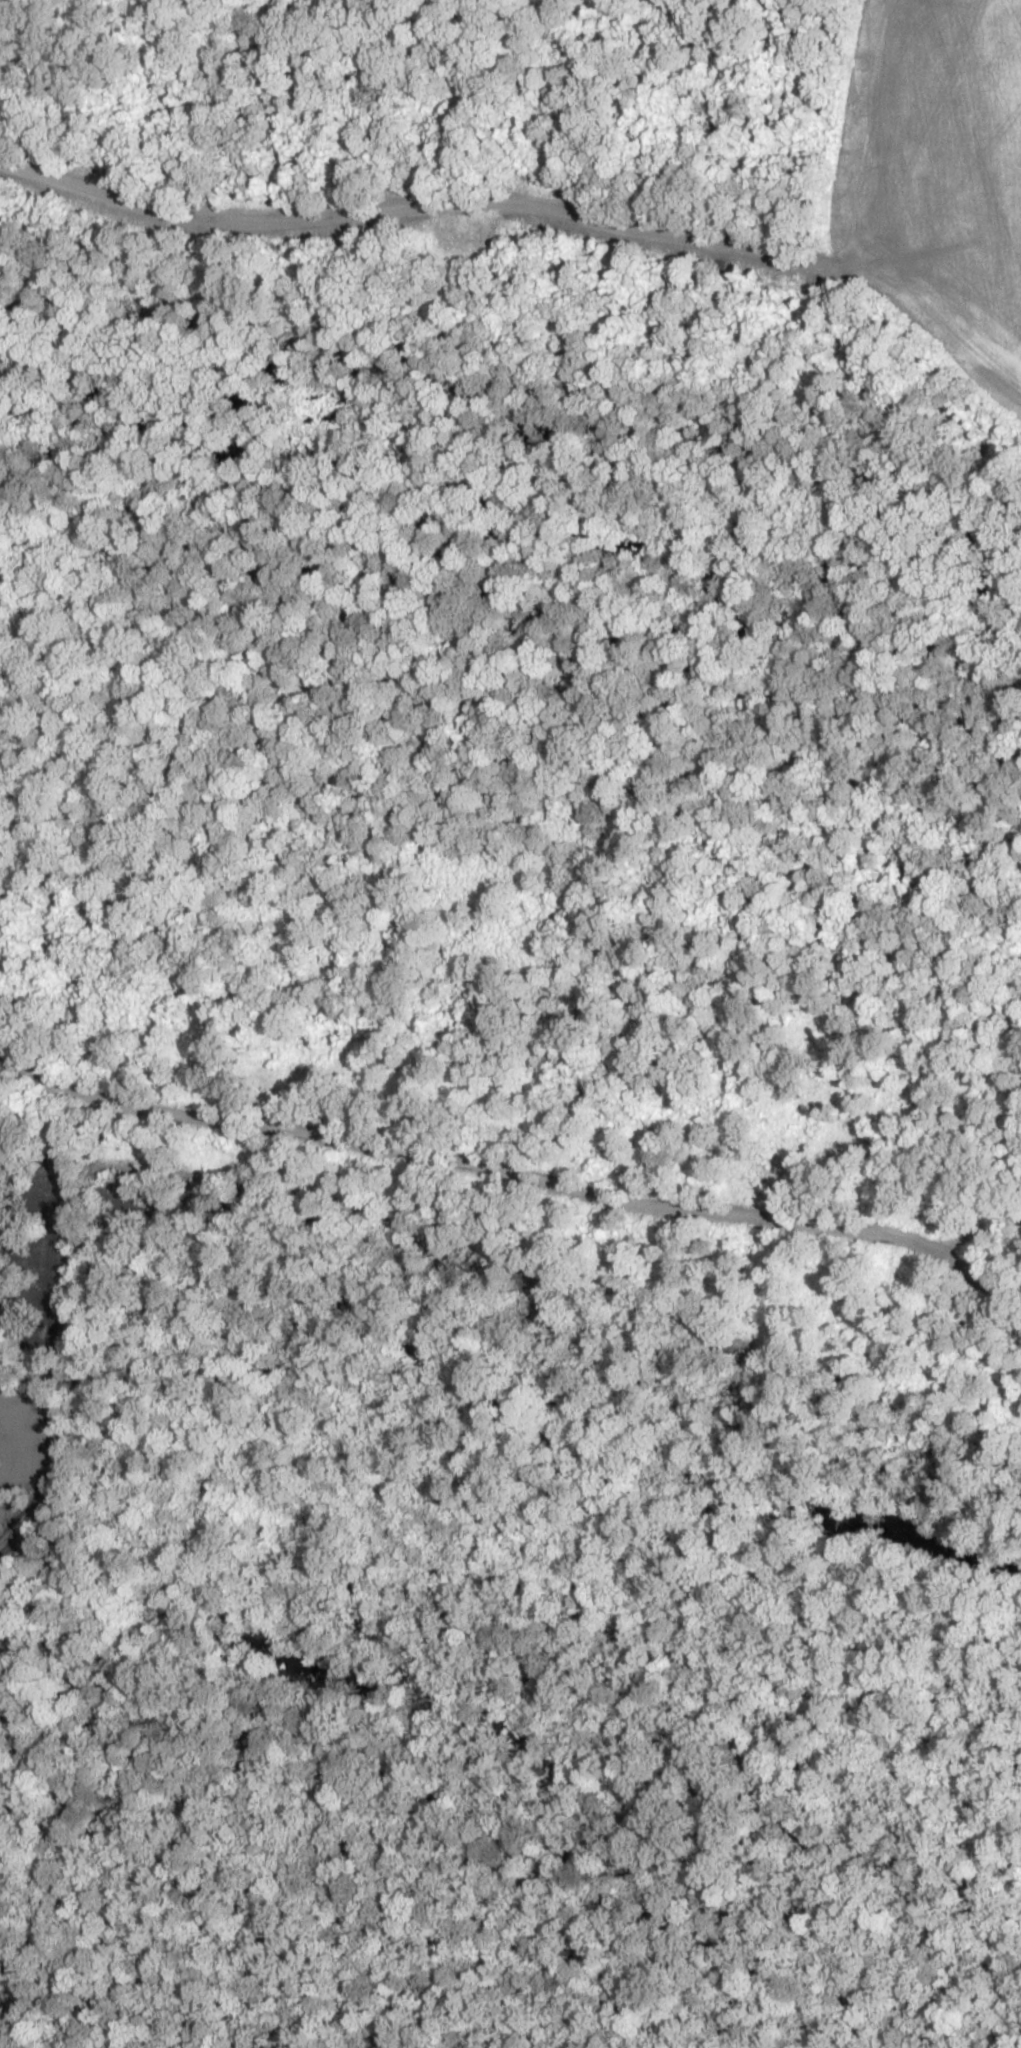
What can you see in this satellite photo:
road: (852, 119)
road: (289, 220)
road: (823, 241)

